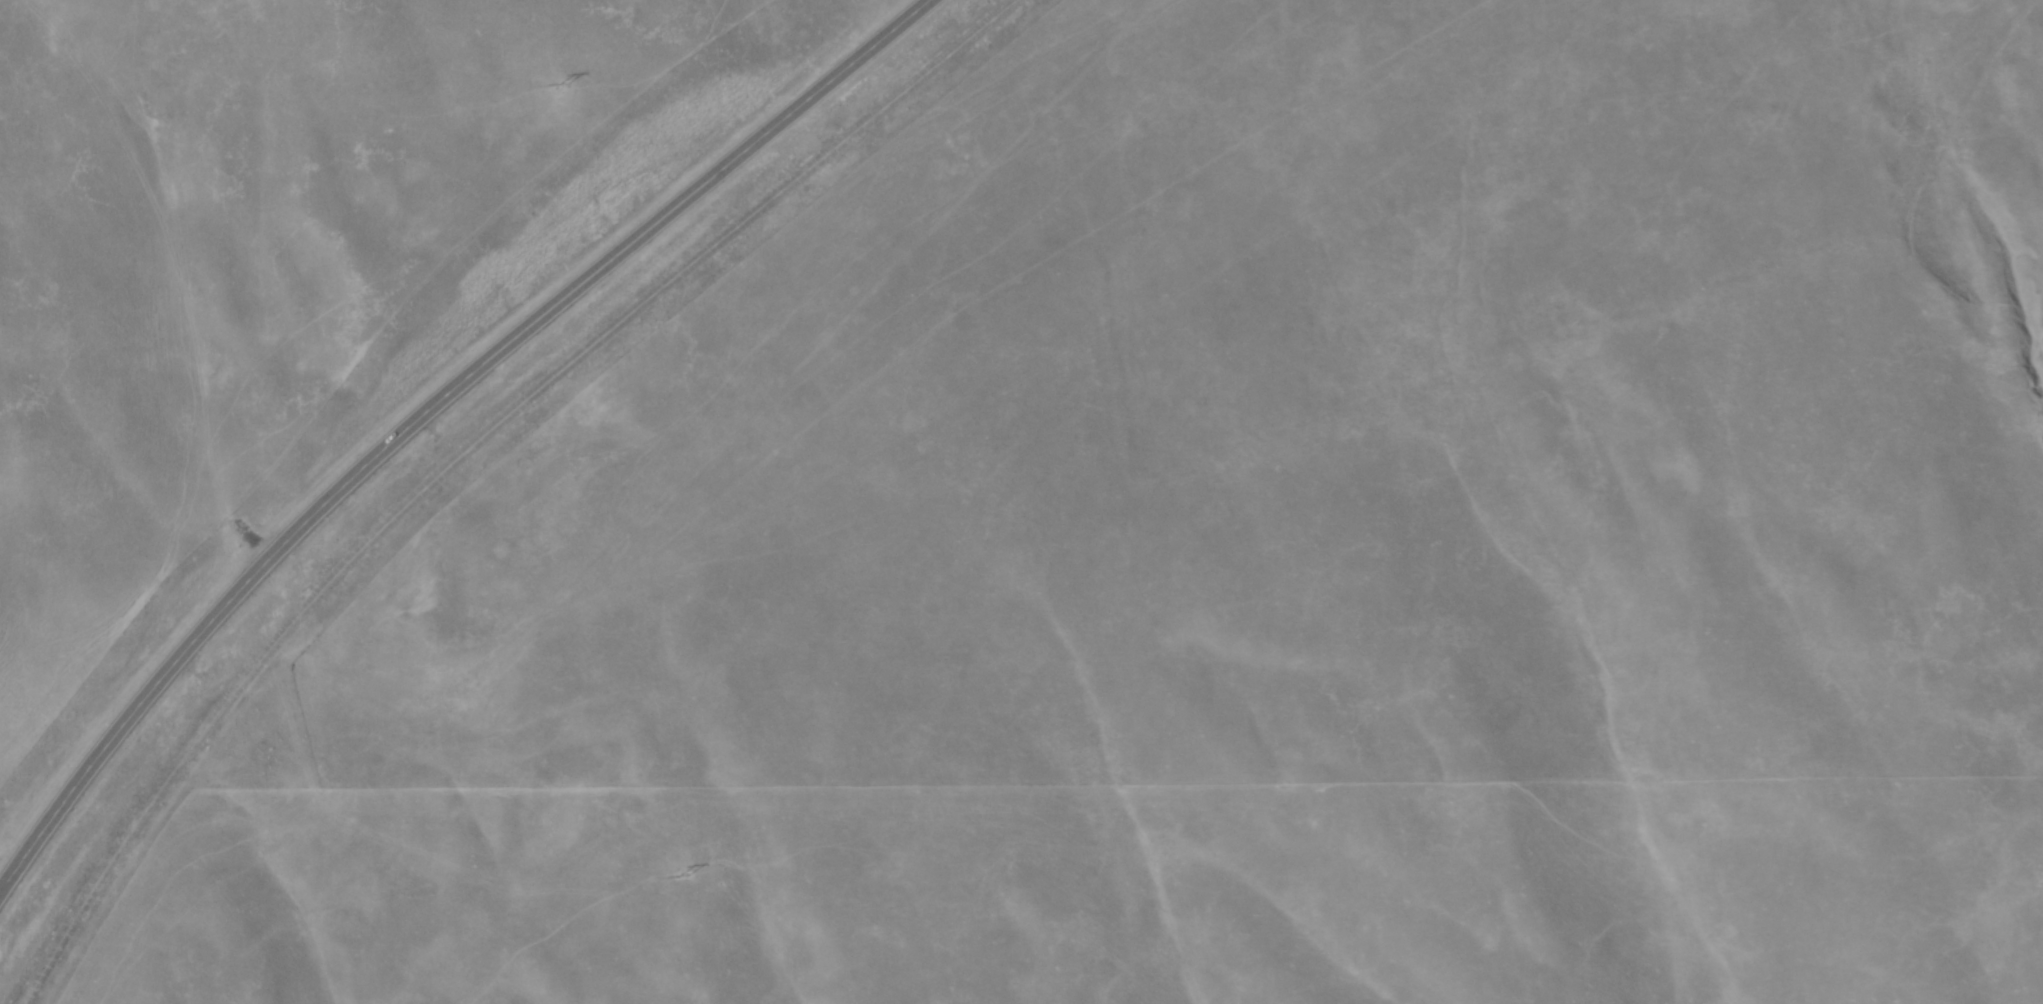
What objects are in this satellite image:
power tower: (562, 85)
road: (431, 412)
road: (471, 448)
power tower: (682, 878)

